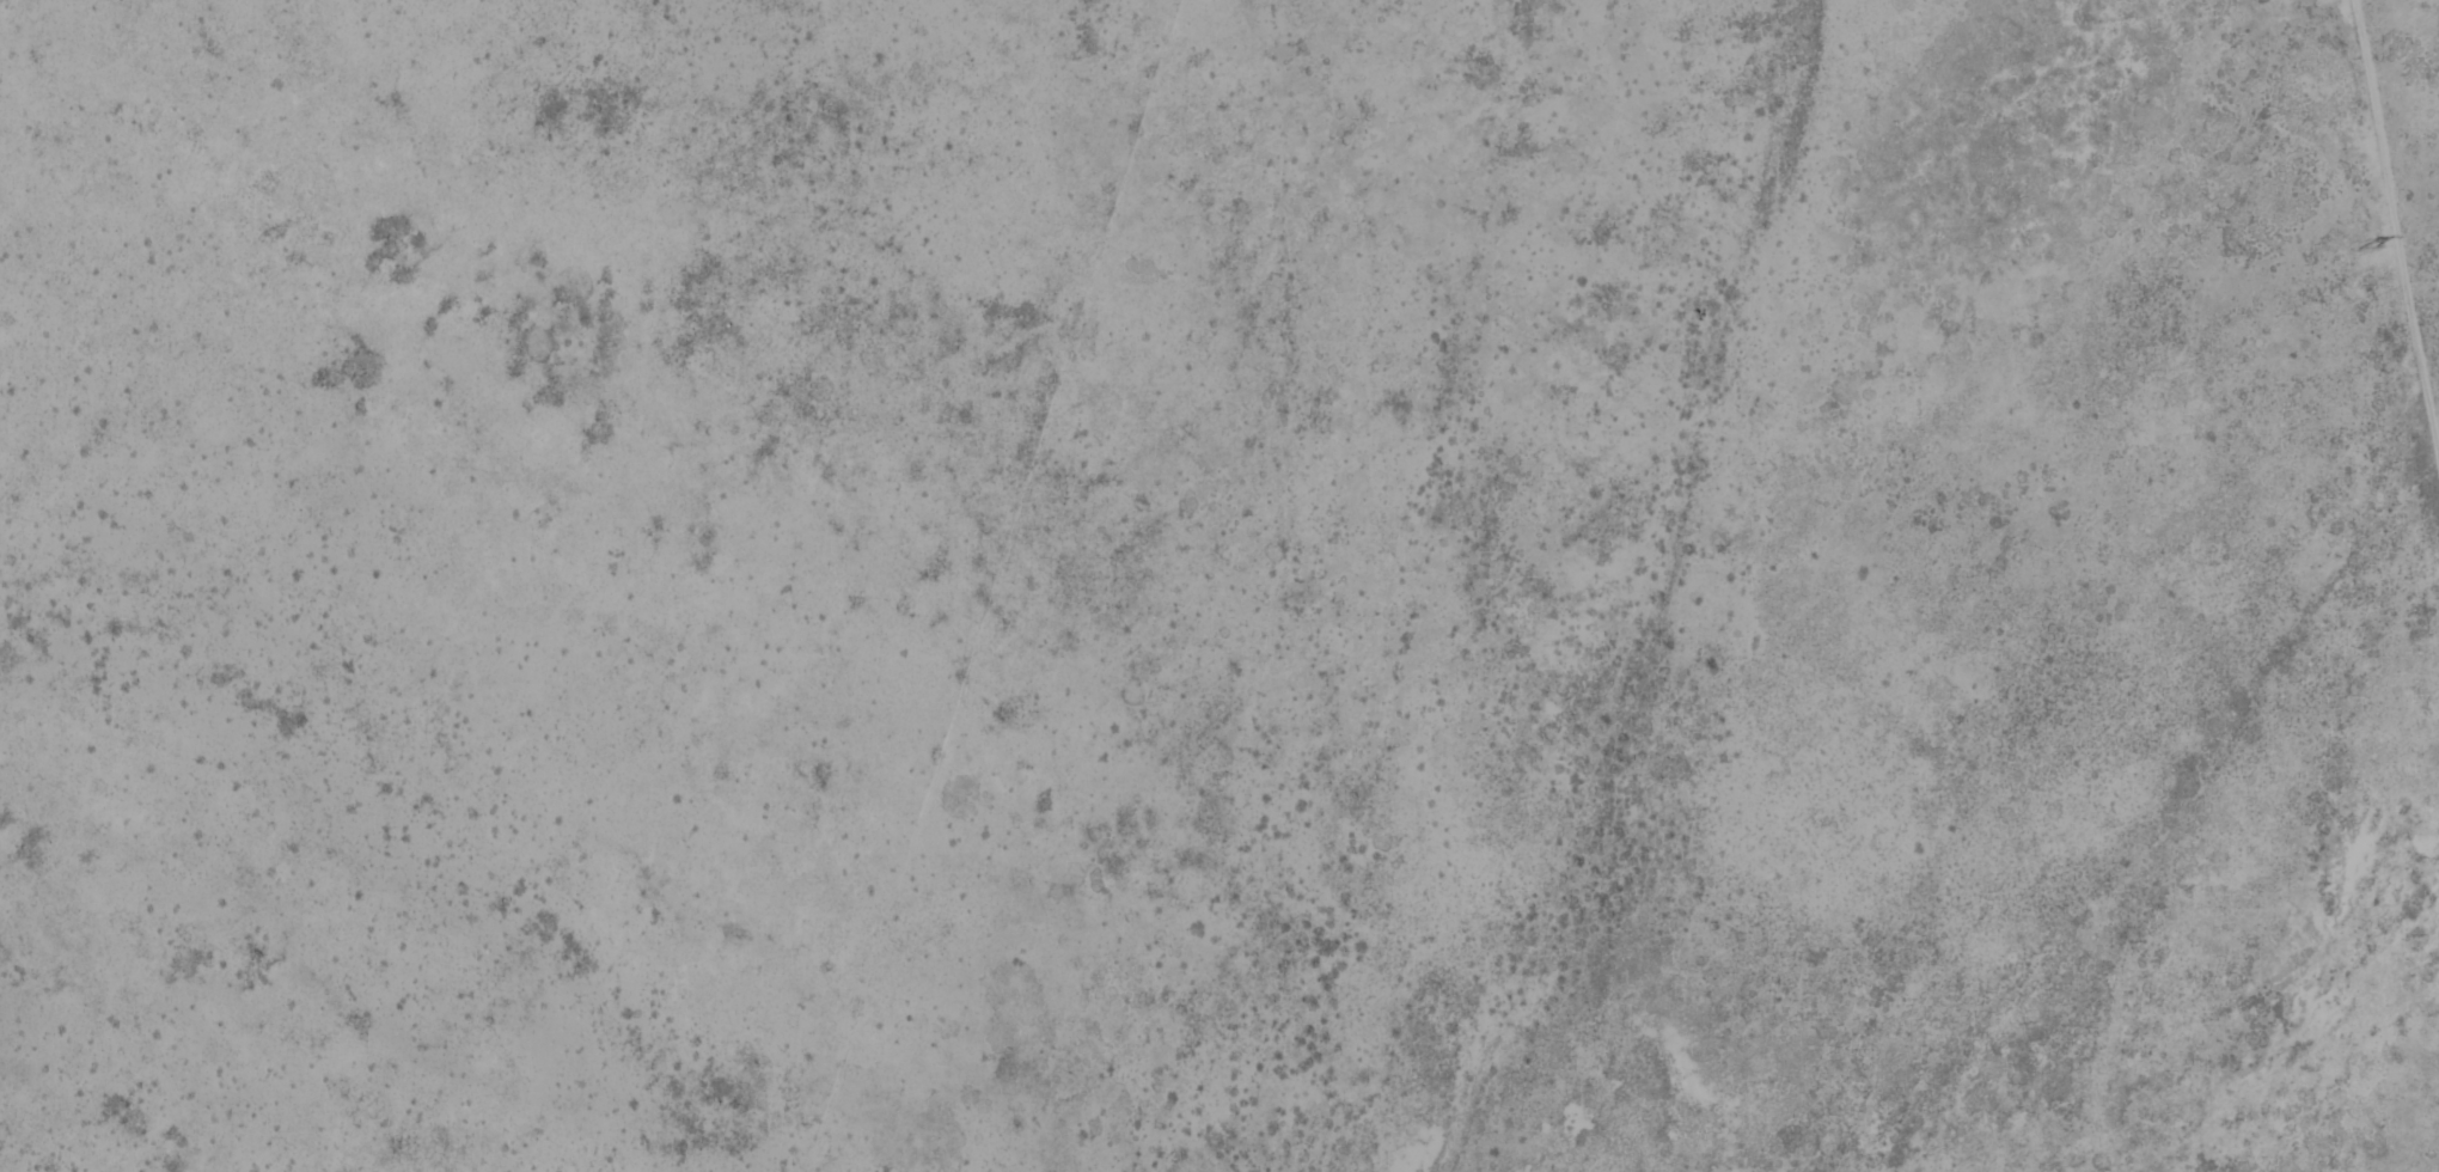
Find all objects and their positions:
road: (2414, 106)
power tower: (2367, 248)

